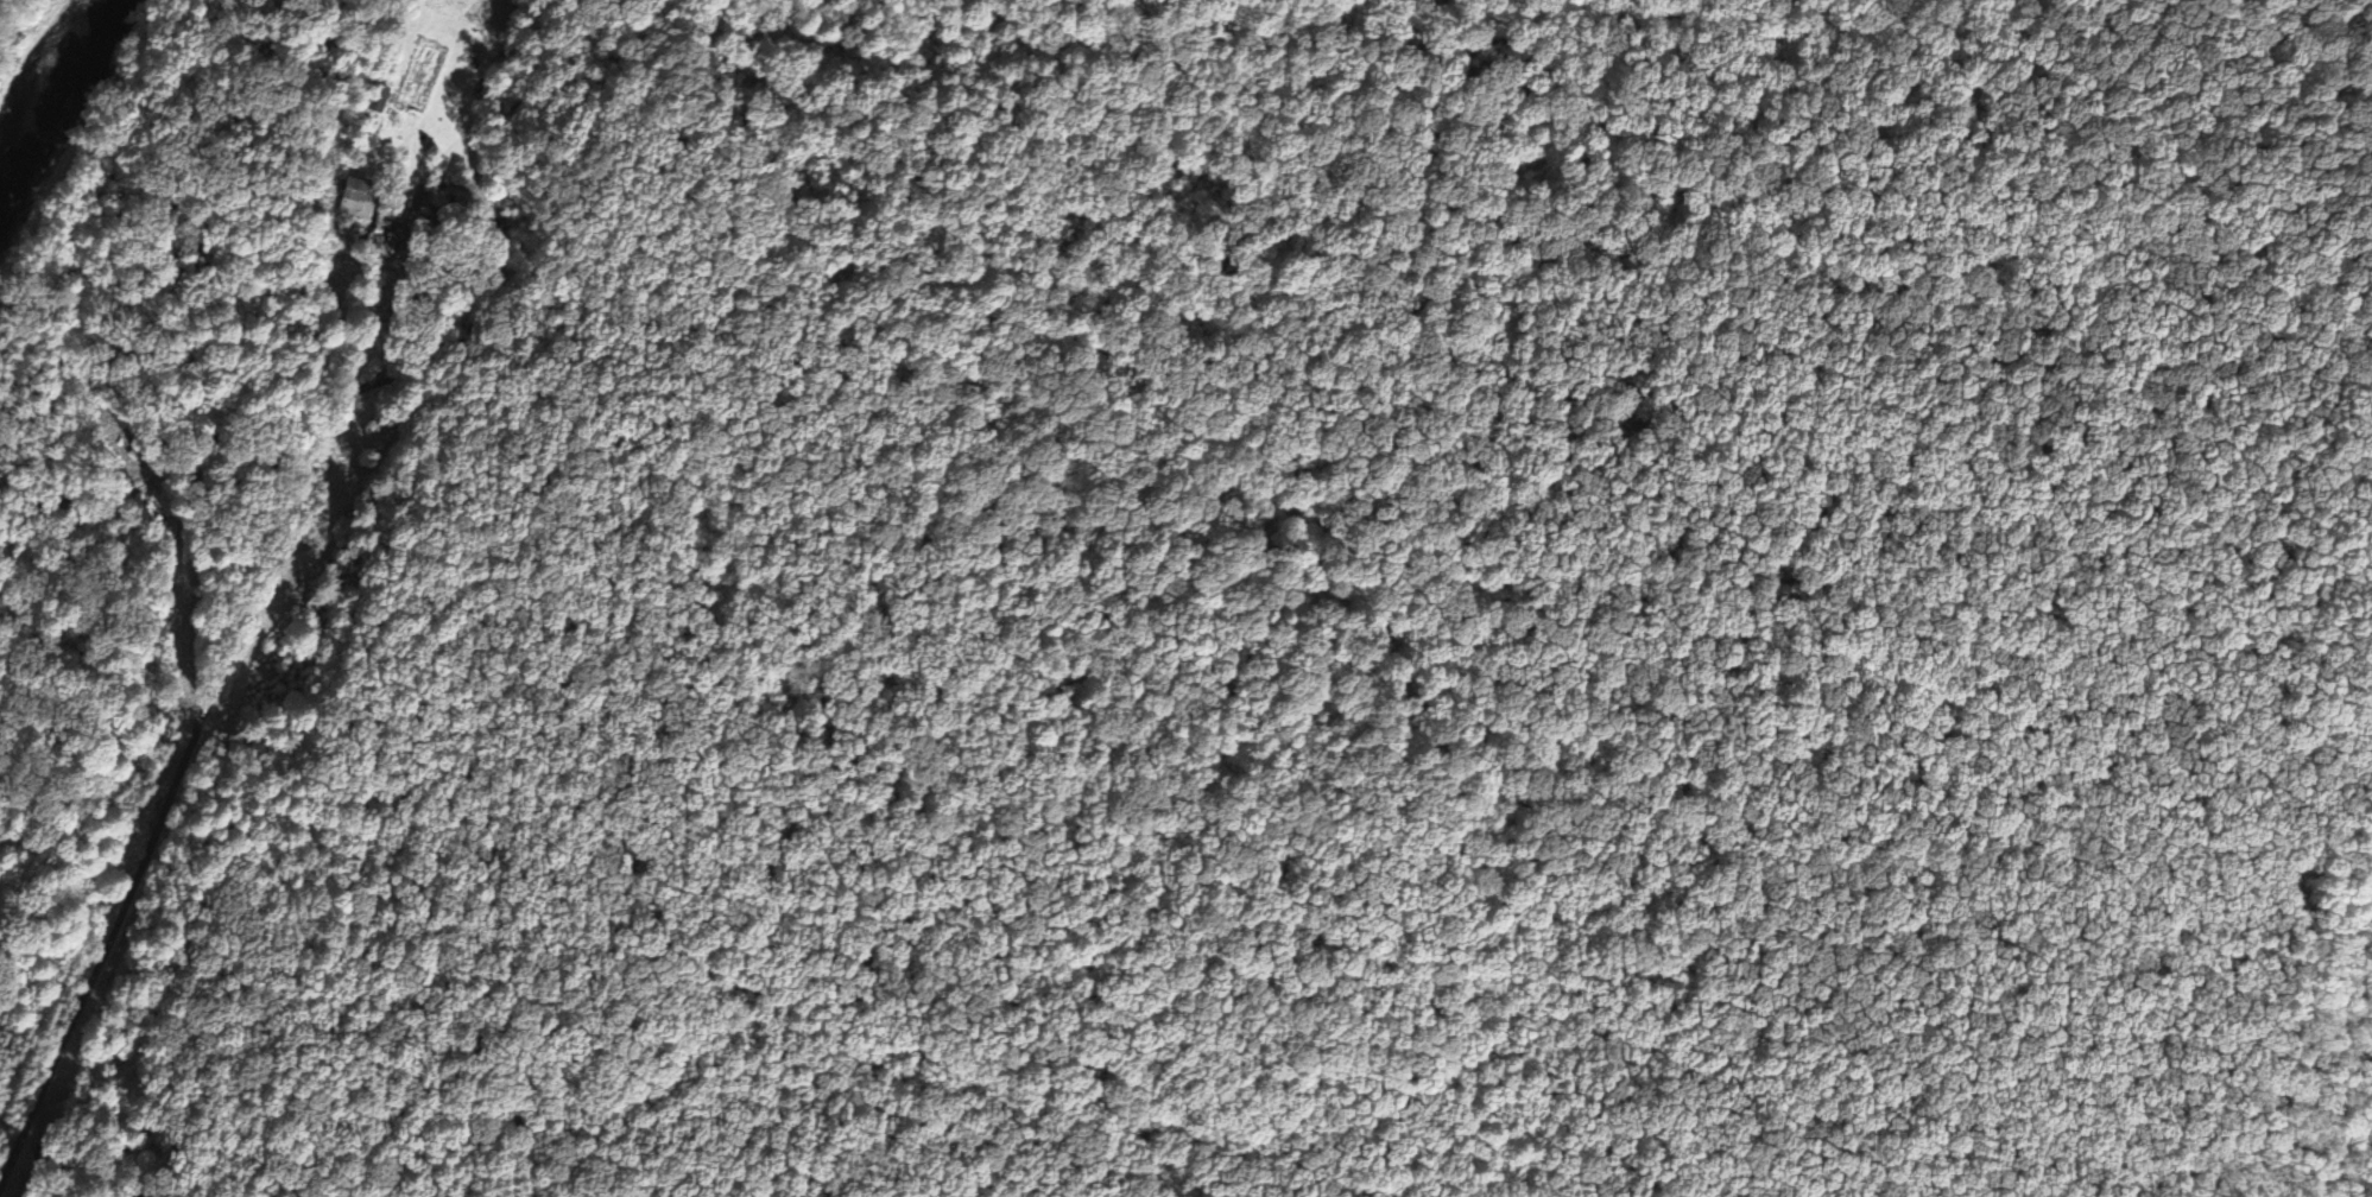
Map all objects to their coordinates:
river: (45, 82)
building: (349, 198)

